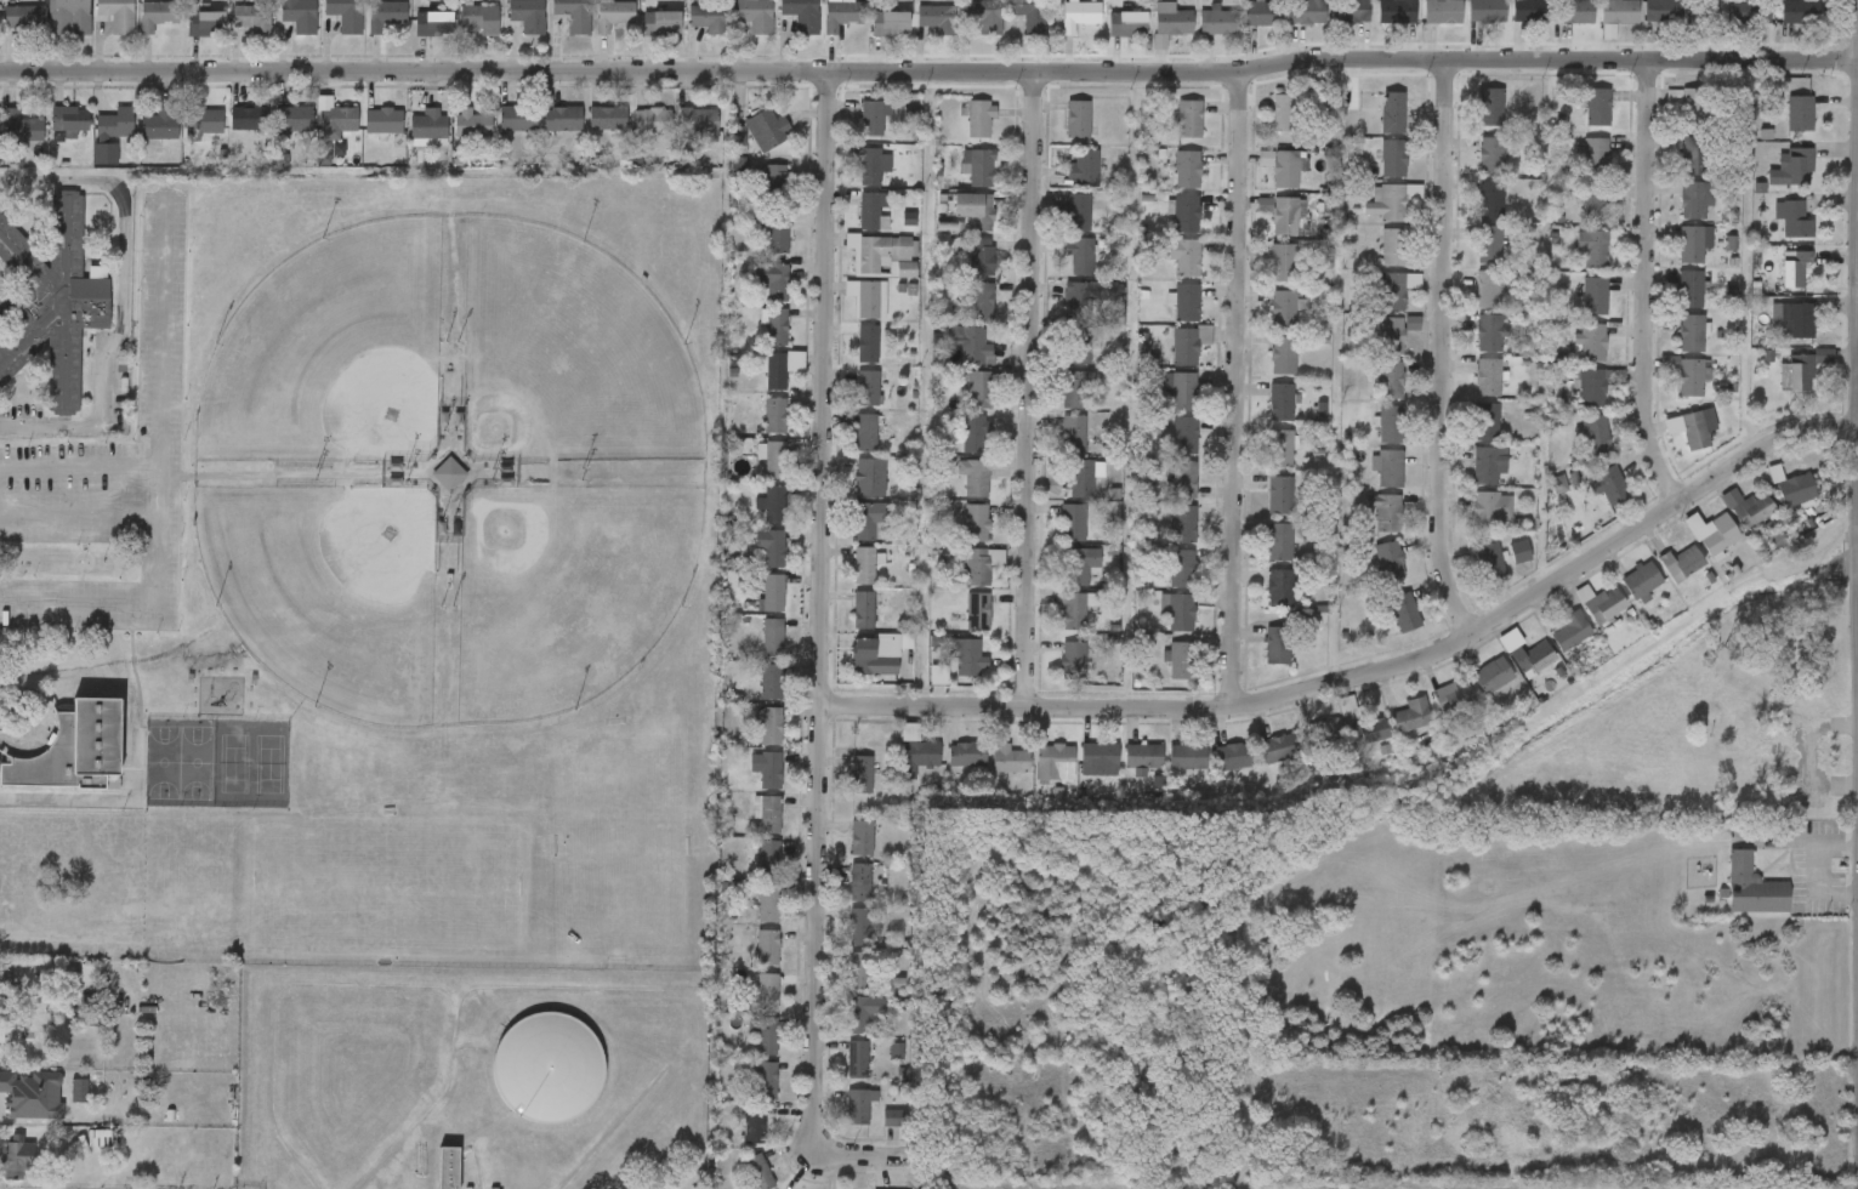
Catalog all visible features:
building: (1552, 0)
building: (1487, 10)
building: (1663, 10)
building: (1306, 11)
building: (1351, 11)
building: (1399, 11)
building: (1442, 11)
building: (1530, 11)
building: (1574, 11)
building: (1619, 11)
building: (1754, 11)
building: (1800, 11)
building: (159, 13)
building: (297, 13)
building: (801, 13)
building: (1262, 13)
building: (73, 15)
building: (117, 15)
building: (345, 15)
building: (385, 15)
building: (527, 15)
building: (573, 15)
building: (755, 15)
building: (841, 15)
building: (1705, 15)
building: (613, 16)
building: (1029, 16)
building: (22, 17)
building: (1079, 17)
building: (252, 18)
building: (706, 18)
building: (988, 18)
building: (936, 19)
building: (479, 21)
building: (1217, 21)
building: (1288, 21)
building: (1379, 21)
building: (55, 22)
building: (205, 23)
building: (433, 23)
building: (661, 23)
building: (782, 23)
building: (890, 23)
building: (1126, 23)
building: (1174, 23)
building: (1466, 23)
building: (1508, 23)
building: (1642, 23)
building: (1721, 23)
building: (1330, 24)
building: (1422, 24)
building: (98, 25)
building: (326, 25)
building: (555, 25)
building: (1237, 25)
building: (1556, 25)
building: (1598, 25)
building: (1779, 25)
building: (279, 27)
building: (592, 27)
building: (822, 27)
building: (1062, 27)
building: (735, 28)
building: (1012, 28)
building: (138, 29)
building: (367, 29)
building: (508, 29)
building: (966, 29)
building: (11, 30)
building: (233, 33)
building: (460, 33)
building: (689, 33)
building: (917, 33)
building: (1197, 34)
building: (642, 36)
building: (414, 38)
building: (870, 38)
building: (1107, 38)
building: (1149, 38)
building: (186, 39)
road: (928, 72)
building: (1490, 106)
building: (1597, 106)
building: (1693, 106)
building: (1393, 112)
building: (1286, 113)
building: (1795, 113)
building: (249, 118)
building: (292, 118)
building: (870, 118)
building: (1669, 118)
building: (68, 119)
building: (519, 119)
building: (562, 119)
building: (607, 119)
building: (978, 119)
building: (1076, 119)
building: (1188, 119)
building: (203, 120)
building: (382, 120)
building: (652, 120)
building: (698, 120)
building: (336, 121)
building: (1470, 121)
building: (1578, 121)
building: (430, 123)
building: (470, 123)
building: (114, 124)
building: (159, 125)
building: (1263, 125)
building: (768, 127)
building: (1775, 127)
building: (21, 129)
building: (1370, 130)
building: (854, 131)
building: (228, 132)
building: (274, 132)
building: (499, 132)
building: (589, 132)
building: (960, 132)
building: (316, 133)
building: (544, 133)
building: (1058, 133)
building: (1169, 133)
building: (51, 135)
building: (364, 135)
building: (632, 135)
building: (184, 136)
building: (677, 136)
building: (97, 137)
building: (453, 137)
building: (409, 138)
building: (140, 140)
building: (12, 143)
building: (746, 143)
building: (1595, 153)
building: (1490, 155)
building: (1694, 155)
building: (1393, 158)
building: (869, 166)
building: (978, 166)
building: (1791, 166)
building: (1081, 167)
building: (1575, 167)
building: (1186, 169)
building: (1285, 169)
building: (1472, 170)
building: (1672, 170)
building: (1373, 172)
building: (771, 180)
building: (854, 180)
building: (959, 181)
building: (1064, 181)
building: (1265, 181)
building: (1772, 182)
building: (1167, 183)
building: (756, 193)
building: (1695, 199)
building: (1490, 200)
building: (1390, 201)
building: (1593, 203)
park: (392, 204)
park: (680, 206)
building: (870, 209)
building: (979, 212)
building: (1078, 212)
building: (1675, 212)
building: (1184, 214)
building: (1371, 215)
building: (1471, 215)
building: (1285, 216)
building: (1244, 218)
building: (1574, 220)
building: (1795, 220)
building: (955, 224)
building: (853, 226)
building: (1058, 227)
building: (1164, 227)
building: (1267, 229)
building: (777, 231)
building: (1773, 233)
building: (926, 239)
building: (1693, 241)
building: (1489, 244)
building: (1393, 246)
building: (1592, 248)
building: (758, 250)
building: (881, 254)
building: (981, 256)
building: (1080, 256)
building: (1183, 257)
building: (1674, 257)
building: (1470, 258)
building: (1576, 260)
building: (1374, 261)
building: (1284, 263)
building: (1794, 267)
building: (862, 269)
building: (1061, 269)
building: (961, 271)
building: (1164, 271)
building: (1262, 277)
building: (1773, 281)
building: (775, 283)
road: (1649, 285)
building: (1488, 288)
building: (1691, 288)
building: (1394, 289)
building: (754, 295)
building: (1593, 295)
road: (123, 296)
building: (867, 297)
building: (1189, 300)
building: (1076, 301)
building: (1670, 302)
building: (979, 303)
building: (1376, 303)
building: (1468, 303)
building: (1283, 308)
building: (1574, 311)
building: (847, 312)
building: (1058, 312)
building: (962, 315)
building: (1165, 315)
building: (1791, 320)
building: (1263, 323)
building: (44, 326)
building: (777, 326)
building: (1489, 332)
building: (1692, 332)
building: (1772, 334)
building: (1391, 335)
building: (756, 339)
building: (1592, 342)
building: (867, 345)
building: (1076, 346)
building: (1184, 346)
building: (973, 347)
building: (1468, 347)
building: (1671, 347)
building: (1371, 351)
road: (1442, 351)
park: (445, 355)
building: (1282, 355)
building: (1570, 355)
building: (848, 358)
building: (950, 358)
building: (1169, 358)
building: (1058, 362)
building: (777, 366)
building: (1263, 369)
building: (1796, 371)
building: (1487, 376)
building: (1691, 377)
building: (1388, 380)
building: (1782, 383)
building: (756, 385)
building: (867, 387)
building: (1590, 387)
building: (1666, 388)
building: (978, 389)
road: (1032, 389)
building: (1075, 389)
building: (1181, 391)
road: (1235, 391)
building: (1467, 391)
building: (1370, 393)
building: (1570, 400)
building: (848, 402)
building: (1280, 402)
building: (960, 404)
building: (1055, 404)
building: (1161, 404)
road: (164, 415)
building: (774, 415)
building: (1261, 416)
building: (1485, 421)
building: (1390, 423)
building: (1301, 425)
building: (755, 429)
building: (1694, 429)
building: (865, 432)
building: (975, 433)
building: (1073, 434)
building: (1595, 434)
building: (1184, 436)
building: (1466, 436)
building: (1369, 438)
building: (1677, 442)
building: (847, 446)
building: (956, 448)
building: (1053, 448)
building: (1279, 448)
building: (1576, 448)
building: (1165, 449)
building: (774, 460)
building: (1262, 462)
building: (1481, 462)
building: (1390, 467)
building: (868, 474)
building: (973, 477)
building: (1078, 478)
building: (1182, 478)
building: (1466, 479)
building: (1368, 482)
building: (1609, 484)
building: (1754, 488)
building: (1796, 489)
building: (851, 490)
building: (955, 491)
building: (1064, 491)
building: (1165, 493)
building: (1279, 495)
building: (1589, 499)
building: (774, 504)
building: (1775, 504)
building: (1748, 506)
building: (1260, 508)
building: (1491, 508)
building: (1385, 511)
road: (80, 517)
building: (751, 519)
building: (865, 520)
building: (1727, 522)
building: (975, 523)
building: (1072, 523)
building: (1182, 523)
building: (1472, 523)
building: (1365, 525)
building: (1712, 533)
building: (850, 535)
building: (956, 536)
building: (1053, 536)
building: (1163, 537)
building: (1282, 540)
building: (769, 547)
building: (1693, 548)
building: (1519, 551)
building: (751, 561)
building: (1388, 561)
building: (1489, 562)
building: (1681, 563)
building: (863, 565)
building: (1079, 565)
building: (977, 568)
building: (1181, 568)
building: (1369, 575)
building: (1470, 575)
building: (1661, 576)
building: (847, 579)
building: (962, 579)
building: (1063, 579)
building: (1642, 580)
park: (380, 581)
building: (1163, 582)
building: (1279, 588)
building: (773, 592)
building: (1621, 596)
road: (141, 599)
building: (1260, 602)
building: (1602, 603)
building: (754, 607)
building: (1180, 609)
building: (863, 610)
building: (977, 611)
building: (1074, 611)
building: (1405, 613)
road: (822, 614)
park: (194, 624)
building: (845, 624)
building: (1056, 624)
building: (958, 625)
building: (1158, 625)
building: (1385, 626)
building: (1572, 630)
building: (772, 637)
building: (1279, 644)
building: (1551, 644)
building: (752, 649)
building: (877, 653)
building: (966, 656)
building: (1533, 658)
building: (1073, 659)
building: (1181, 659)
building: (1257, 659)
park: (552, 661)
building: (856, 669)
building: (1053, 670)
building: (949, 671)
building: (1512, 672)
building: (1159, 673)
building: (1493, 675)
road: (1370, 676)
building: (772, 682)
building: (1472, 689)
building: (751, 695)
building: (1453, 695)
building: (1432, 709)
building: (1409, 712)
building: (771, 727)
building: (1392, 729)
building: (1368, 730)
building: (1322, 733)
building: (1341, 738)
building: (751, 739)
building: (1307, 744)
building: (890, 745)
building: (73, 749)
building: (1279, 749)
building: (920, 753)
building: (966, 753)
building: (1143, 756)
building: (1232, 756)
building: (1187, 757)
building: (1008, 758)
building: (1098, 758)
building: (1055, 761)
building: (1258, 762)
building: (899, 769)
building: (769, 770)
building: (947, 770)
building: (1167, 770)
building: (1214, 770)
building: (1123, 772)
building: (990, 773)
building: (1079, 773)
building: (860, 774)
building: (1035, 775)
building: (748, 779)
building: (842, 787)
road: (55, 796)
building: (768, 814)
building: (748, 826)
building: (862, 837)
building: (842, 852)
building: (768, 859)
building: (749, 869)
building: (867, 880)
building: (1751, 887)
park: (357, 888)
park: (383, 888)
building: (840, 895)
building: (1732, 900)
building: (768, 903)
building: (750, 920)
building: (860, 927)
building: (843, 940)
building: (767, 949)
building: (748, 961)
building: (860, 971)
building: (836, 984)
building: (767, 991)
building: (748, 1005)
building: (863, 1012)
building: (843, 1025)
building: (767, 1036)
building: (745, 1048)
building: (858, 1059)
building: (876, 1064)
building: (837, 1073)
building: (766, 1081)
building: (746, 1094)
building: (59, 1104)
building: (858, 1106)
building: (21, 1109)
building: (892, 1117)
building: (839, 1119)
building: (755, 1125)
building: (875, 1131)
building: (733, 1138)
building: (81, 1150)
building: (16, 1155)
road: (863, 1156)
building: (758, 1172)
building: (428, 1174)
building: (738, 1178)

